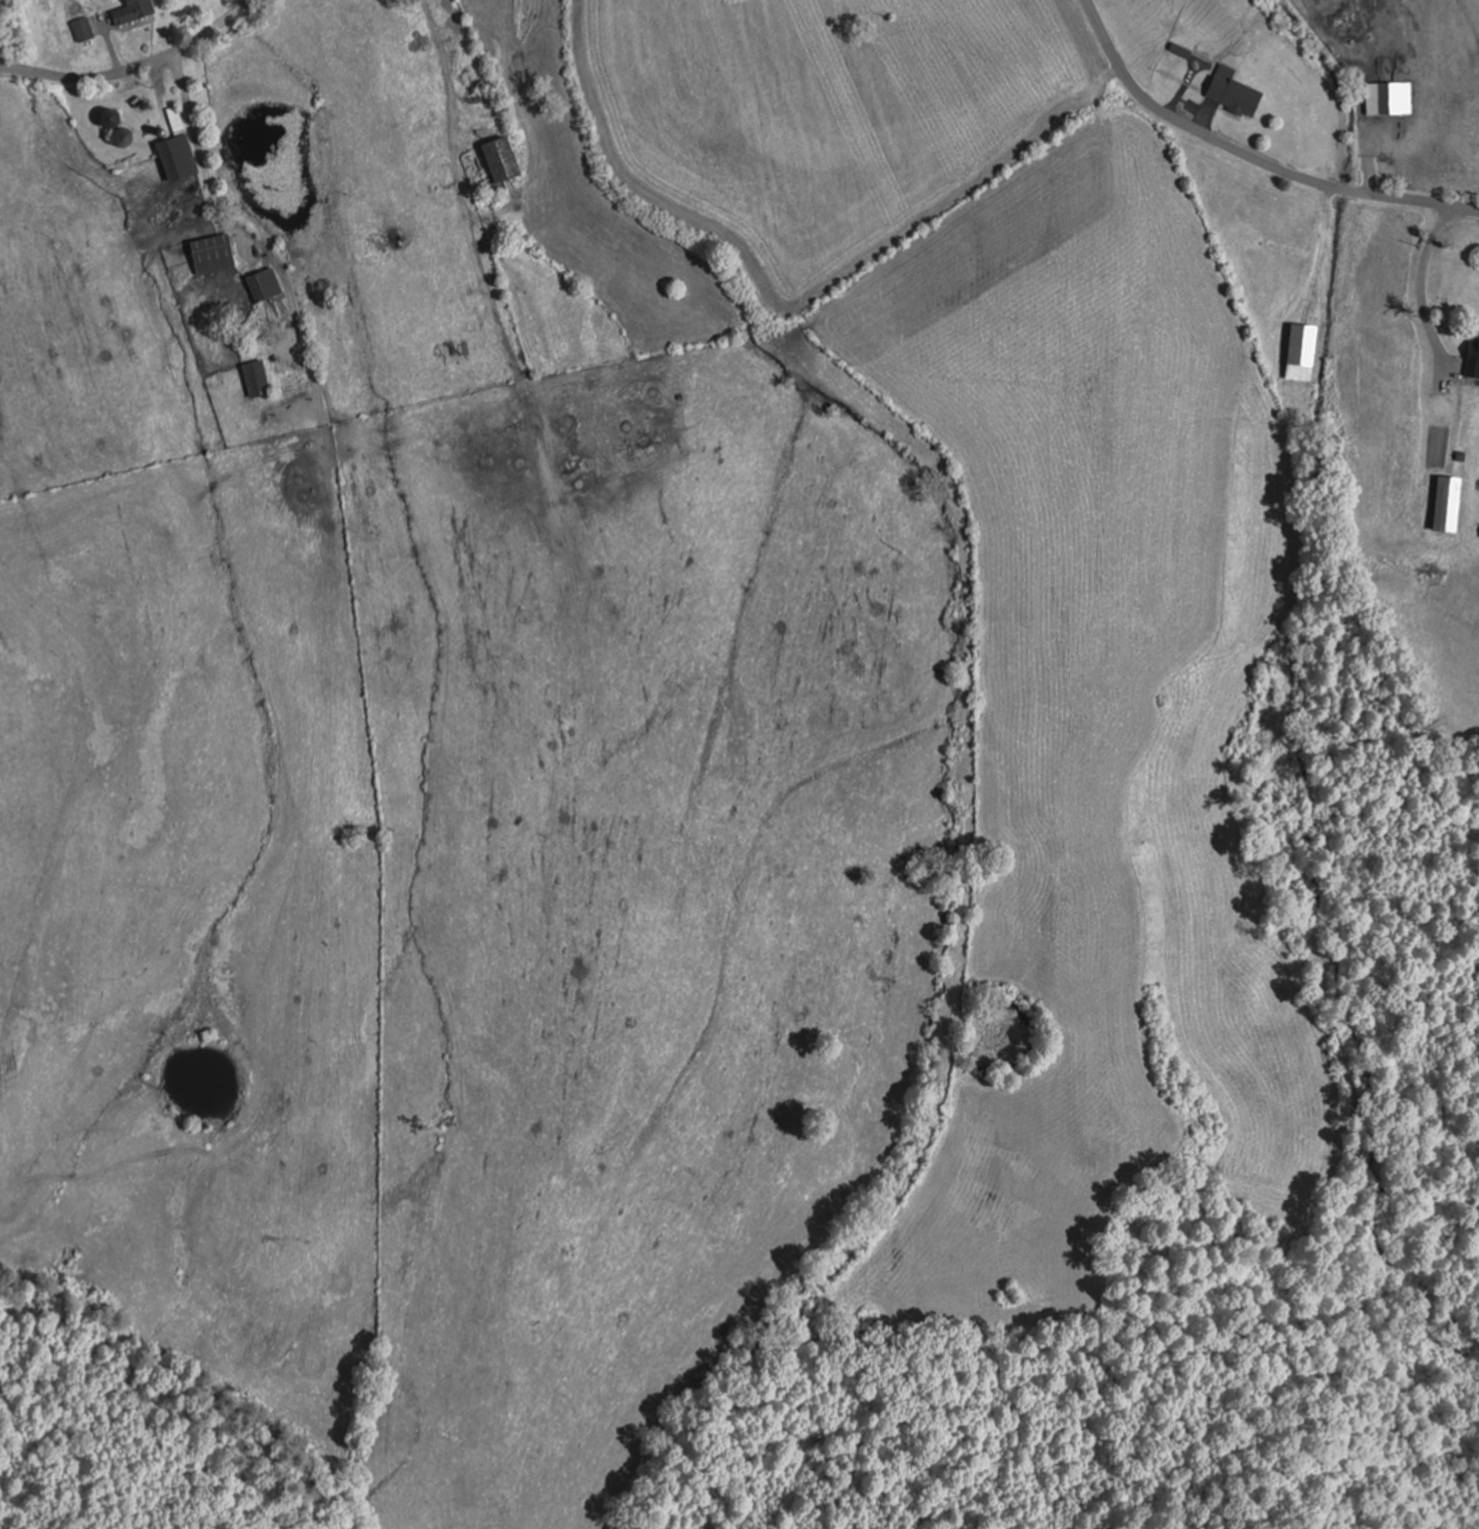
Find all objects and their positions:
building: (129, 12)
building: (82, 29)
road: (138, 72)
building: (1234, 96)
building: (108, 118)
building: (121, 138)
building: (176, 150)
road: (1248, 156)
building: (499, 160)
building: (211, 254)
building: (264, 284)
building: (1473, 346)
building: (1301, 353)
building: (256, 378)
building: (1475, 407)
building: (1448, 499)
building: (1474, 535)

